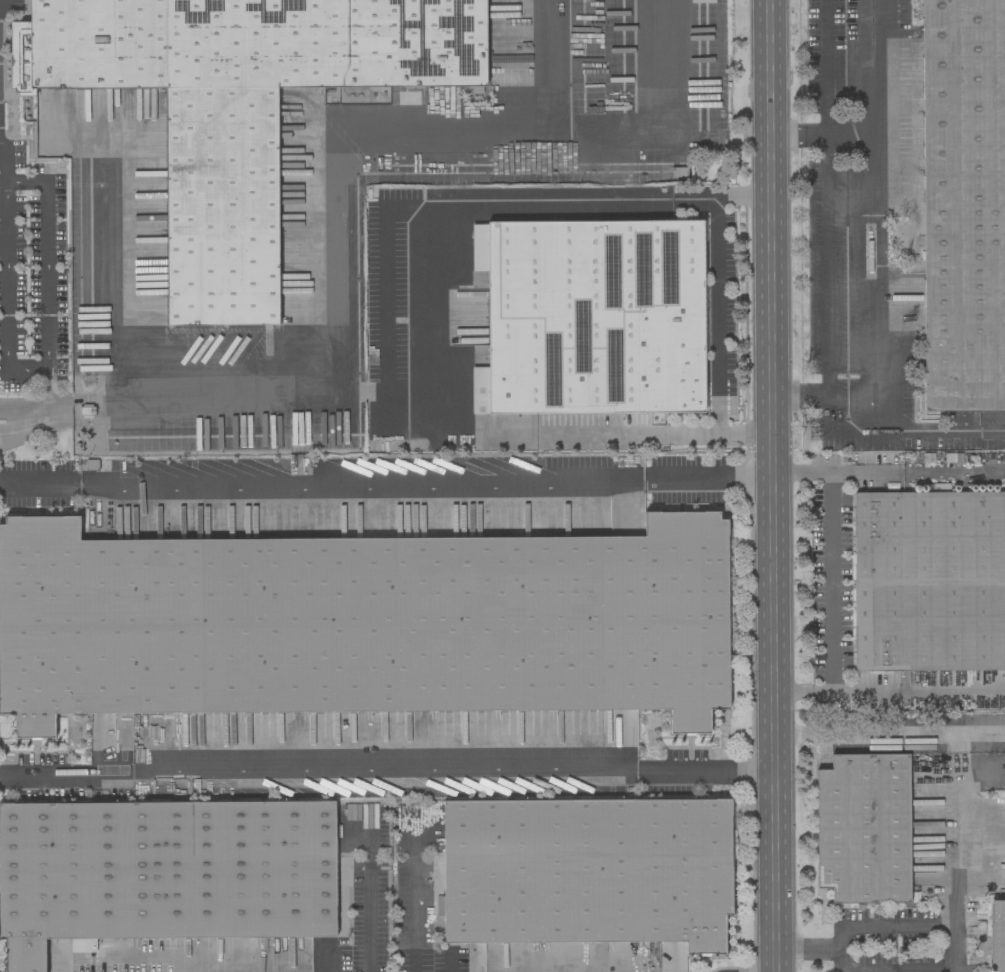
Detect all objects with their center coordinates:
building: (237, 107)
road: (611, 128)
road: (799, 138)
road: (4, 170)
road: (11, 185)
road: (743, 198)
building: (963, 204)
road: (879, 215)
road: (829, 227)
road: (715, 315)
building: (593, 316)
road: (406, 322)
building: (478, 390)
road: (225, 398)
road: (42, 410)
road: (904, 431)
road: (744, 432)
road: (837, 473)
road: (953, 473)
road: (708, 475)
road: (362, 479)
road: (40, 483)
road: (773, 485)
road: (828, 581)
building: (929, 581)
building: (363, 624)
road: (952, 690)
road: (836, 691)
road: (868, 733)
road: (706, 768)
road: (384, 770)
road: (66, 771)
building: (863, 828)
road: (959, 831)
building: (587, 872)
building: (162, 873)
road: (370, 902)
building: (438, 906)
road: (415, 912)
road: (857, 924)
building: (997, 936)
road: (892, 969)

